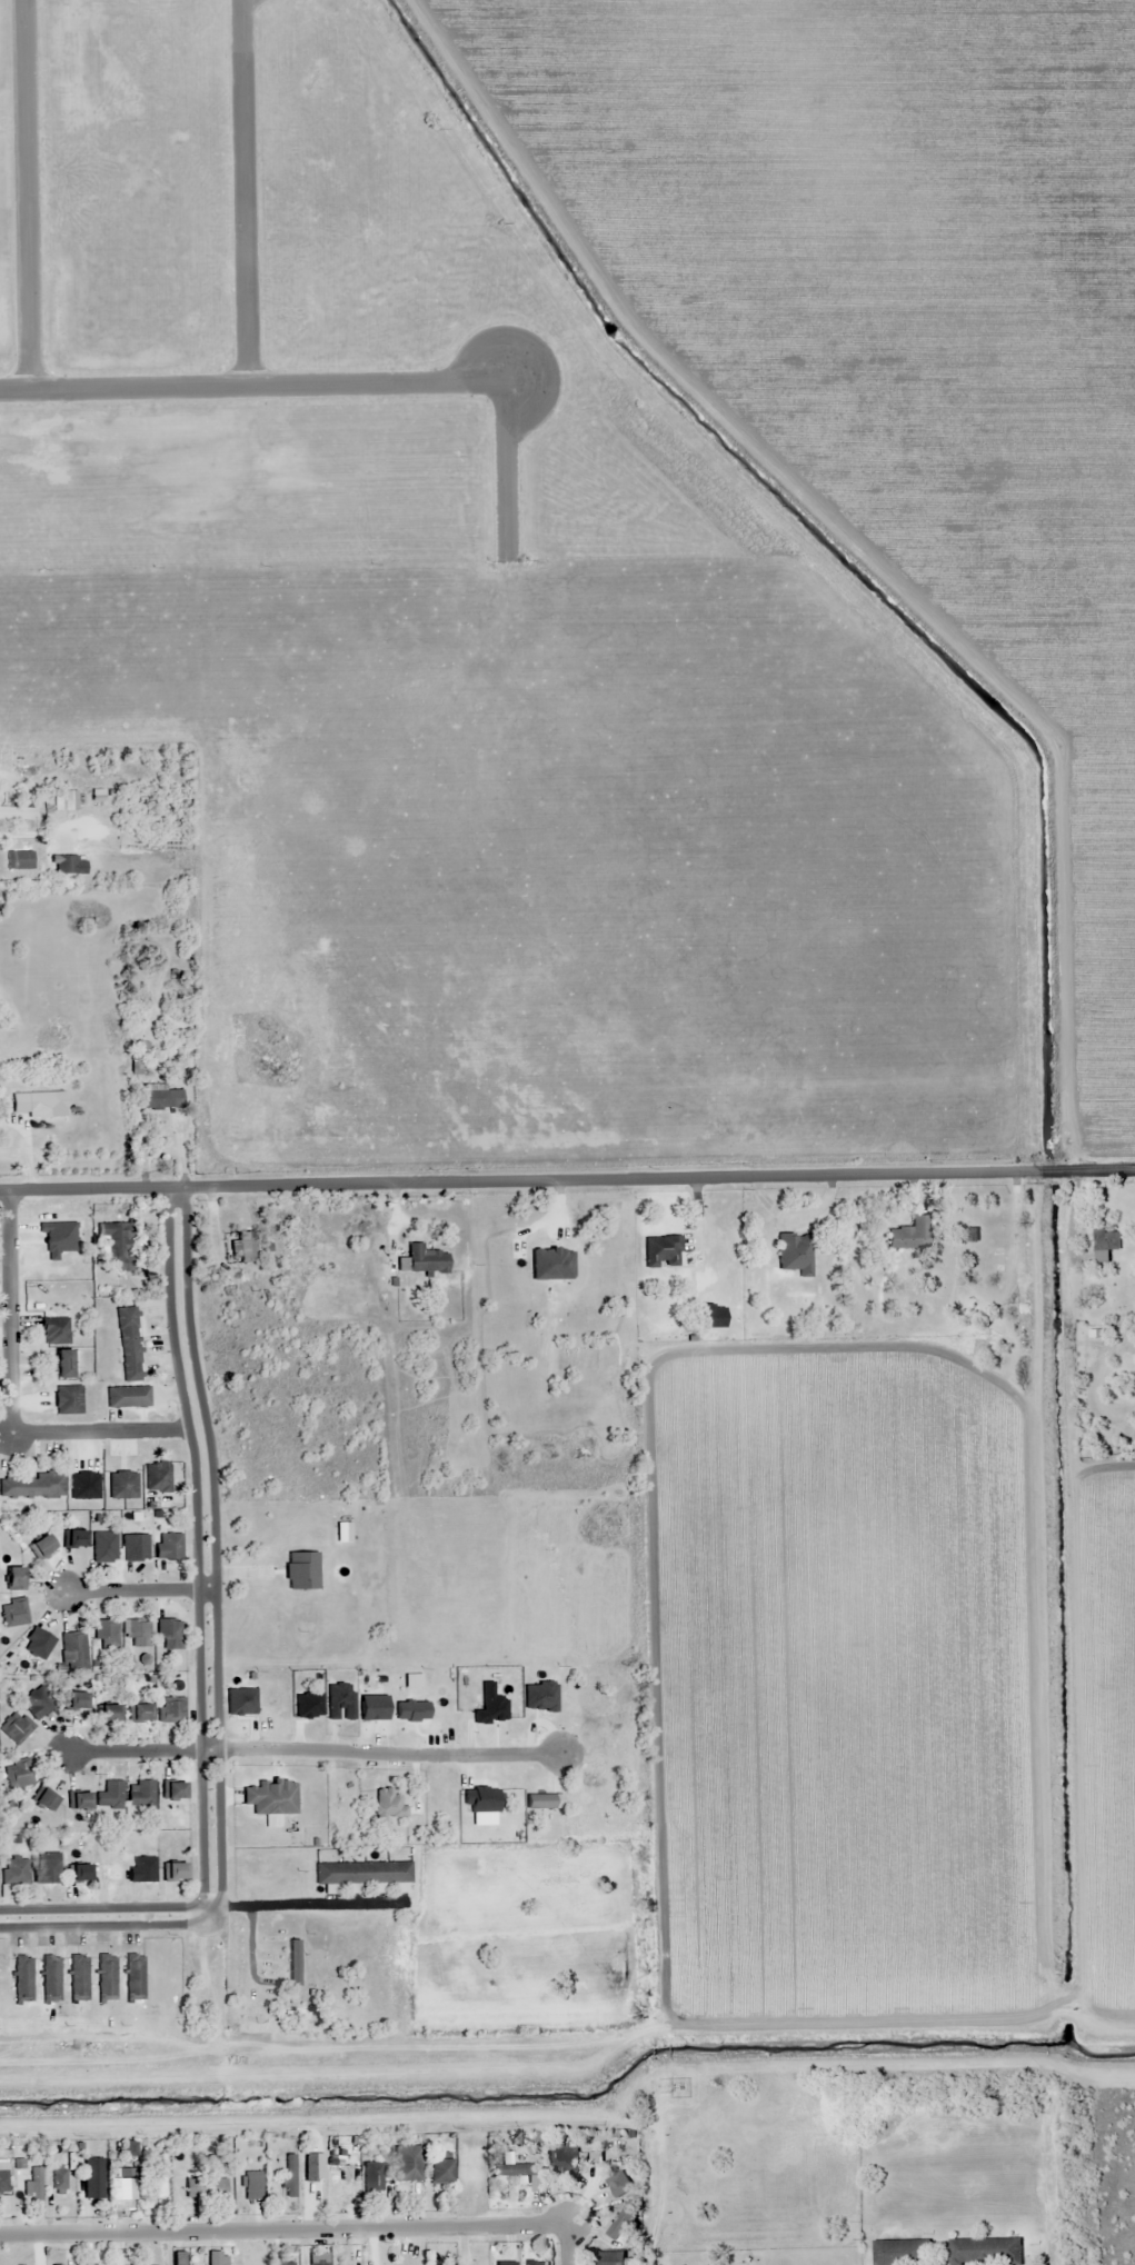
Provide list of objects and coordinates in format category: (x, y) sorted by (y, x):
building: (57, 796)
building: (16, 811)
road: (11, 835)
building: (19, 860)
building: (66, 864)
building: (138, 1055)
building: (158, 1097)
building: (38, 1101)
road: (567, 1179)
building: (908, 1235)
building: (1106, 1240)
building: (115, 1246)
building: (246, 1246)
building: (661, 1251)
building: (795, 1254)
building: (422, 1260)
building: (1023, 1313)
building: (713, 1316)
building: (54, 1330)
building: (129, 1344)
building: (62, 1364)
building: (127, 1397)
building: (67, 1399)
road: (109, 1434)
building: (157, 1477)
building: (84, 1485)
building: (122, 1485)
building: (33, 1487)
building: (74, 1539)
building: (168, 1546)
building: (41, 1547)
building: (104, 1547)
building: (136, 1547)
road: (207, 1550)
building: (12, 1577)
building: (13, 1613)
building: (138, 1634)
building: (169, 1634)
building: (106, 1635)
building: (39, 1644)
building: (74, 1647)
building: (39, 1702)
building: (76, 1702)
building: (171, 1710)
building: (108, 1714)
building: (139, 1714)
building: (14, 1728)
road: (140, 1752)
building: (18, 1775)
building: (173, 1790)
building: (140, 1794)
building: (110, 1795)
building: (271, 1799)
building: (43, 1800)
building: (78, 1802)
building: (48, 1868)
building: (142, 1869)
building: (14, 1870)
building: (110, 1873)
building: (172, 1873)
building: (362, 1873)
building: (79, 1874)
road: (107, 1917)
building: (133, 1976)
building: (78, 1977)
building: (106, 1977)
building: (22, 1978)
building: (50, 1978)
building: (565, 2157)
building: (406, 2163)
building: (437, 2169)
building: (522, 2174)
building: (157, 2175)
building: (288, 2175)
building: (370, 2176)
building: (2, 2177)
building: (93, 2177)
building: (58, 2178)
building: (23, 2179)
building: (125, 2183)
building: (251, 2185)
building: (205, 2187)
building: (623, 2222)
road: (281, 2233)
road: (562, 2246)
building: (985, 2252)
building: (902, 2253)
building: (178, 2258)
building: (213, 2258)
building: (606, 2258)
building: (317, 2262)
building: (283, 2263)
building: (532, 2263)

